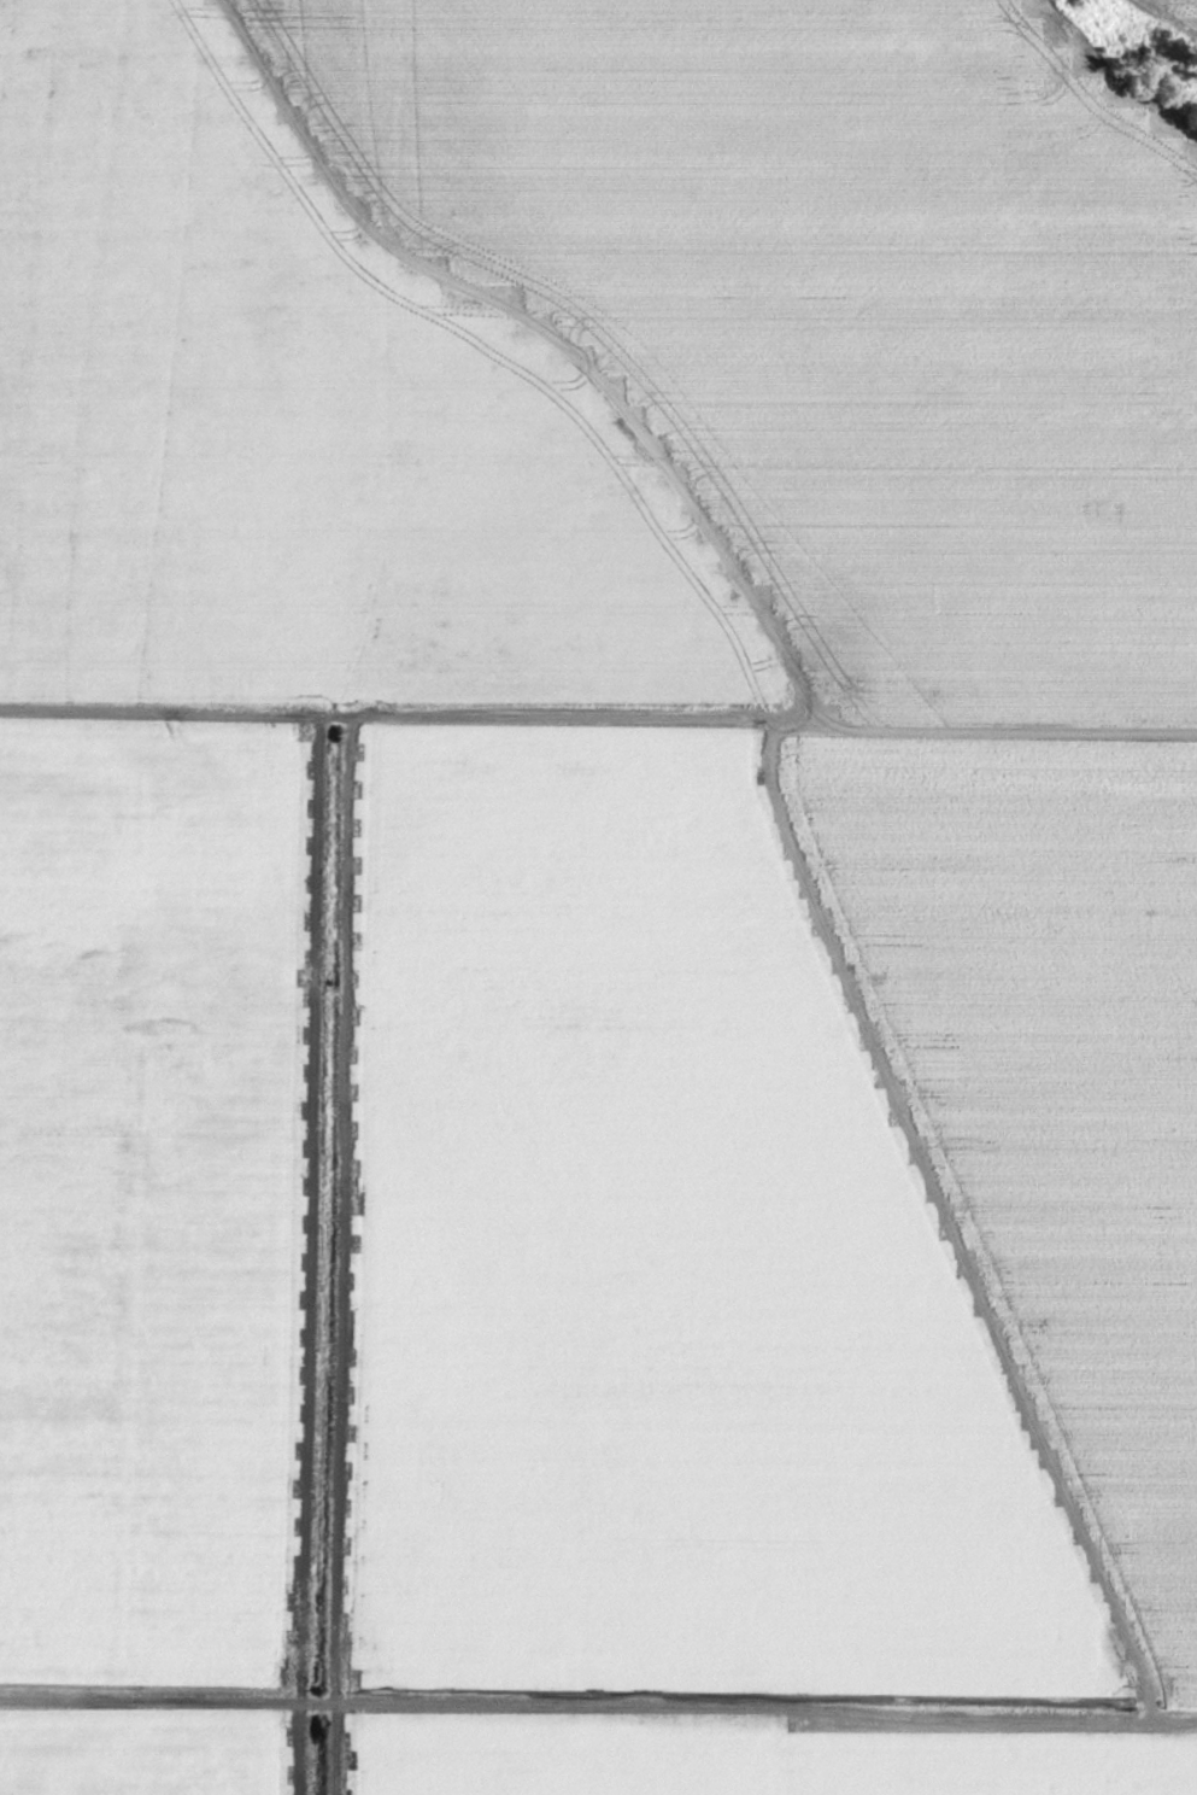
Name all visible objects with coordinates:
road: (598, 724)
road: (938, 1227)
road: (598, 1709)

